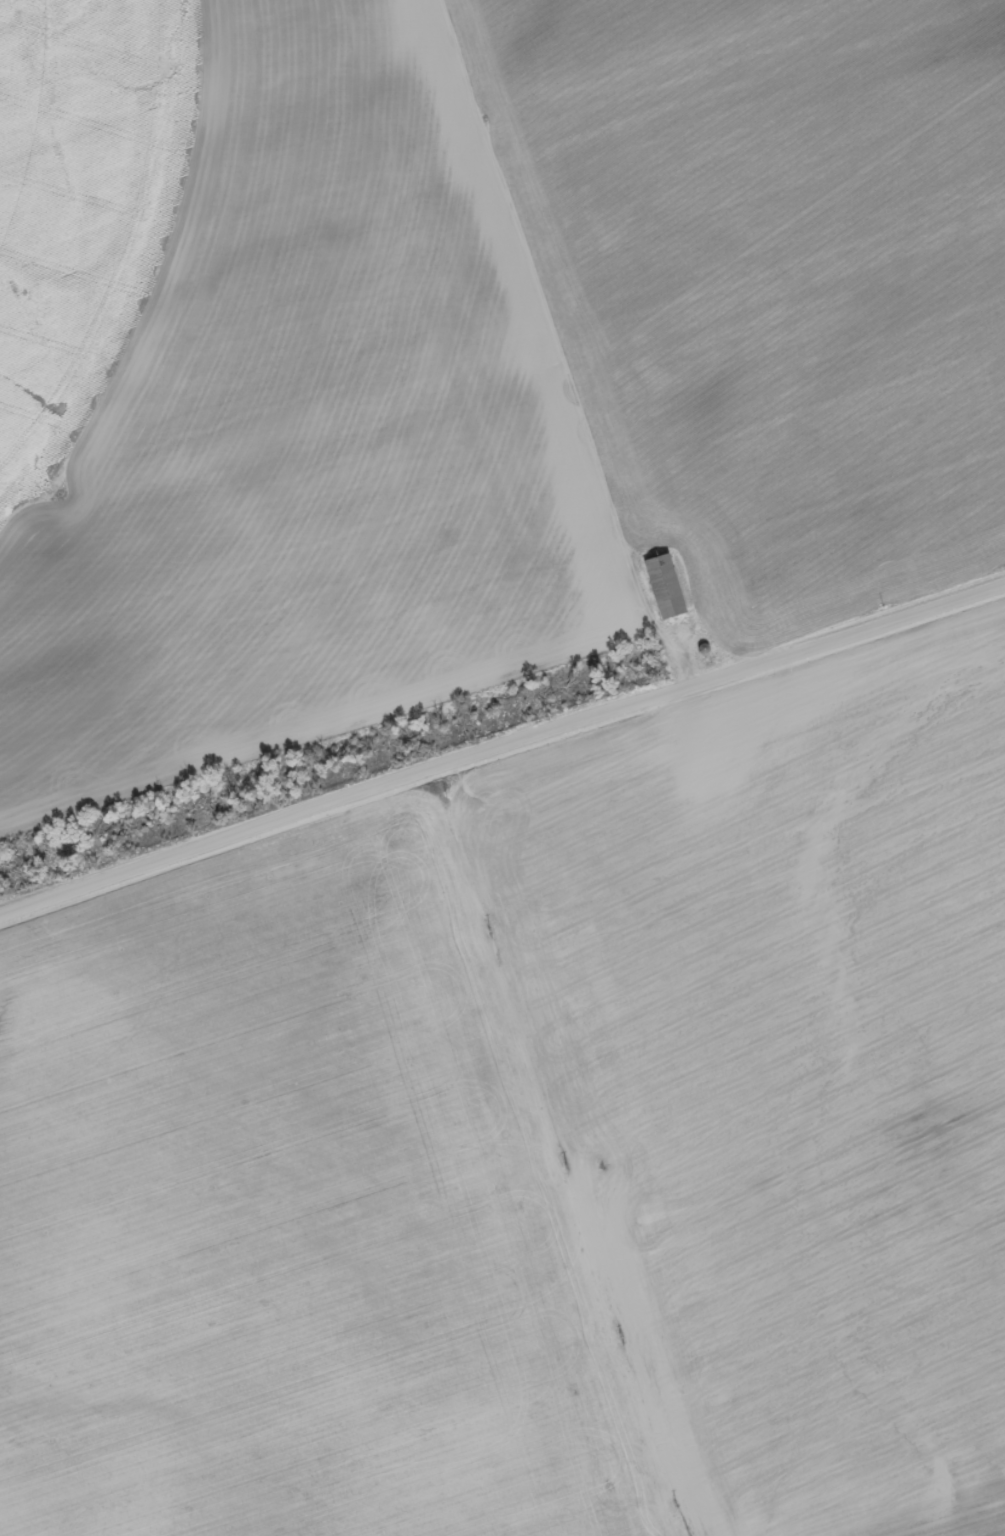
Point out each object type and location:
road: (544, 345)
building: (661, 587)
road: (502, 742)

